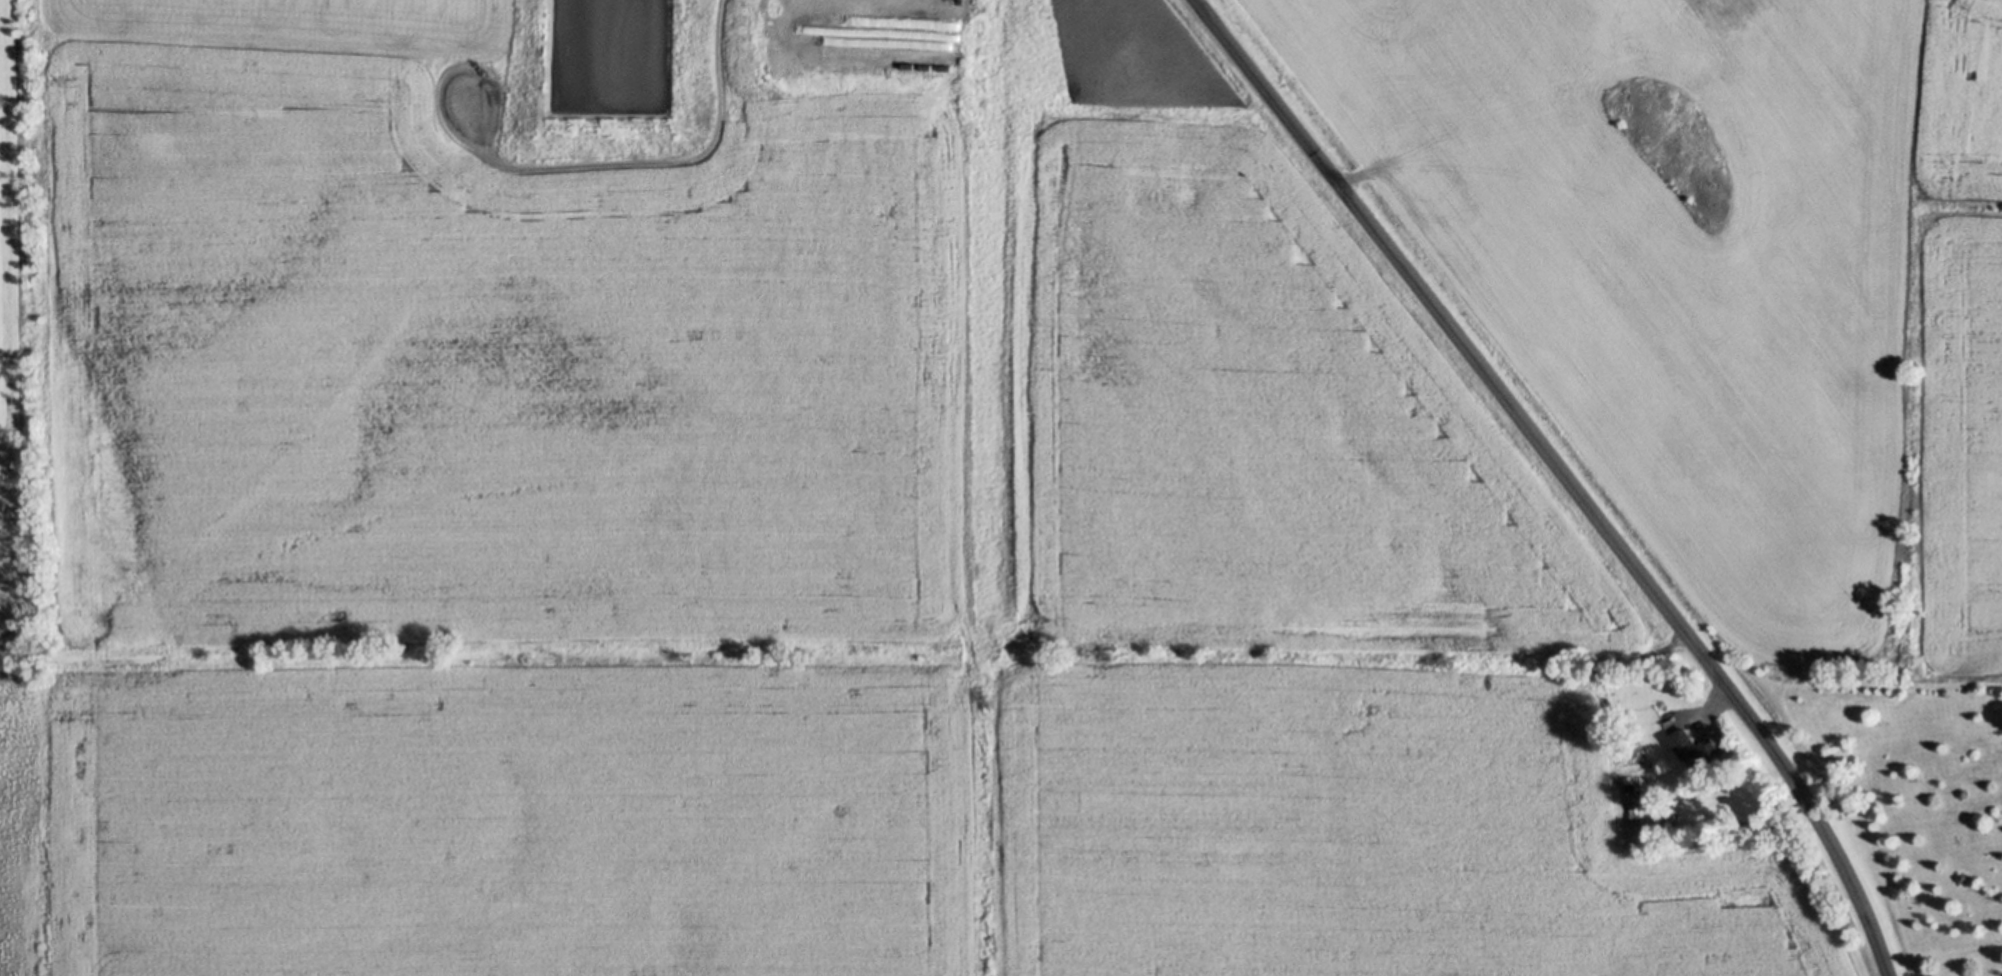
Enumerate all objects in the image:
road: (1565, 474)
building: (1696, 749)

